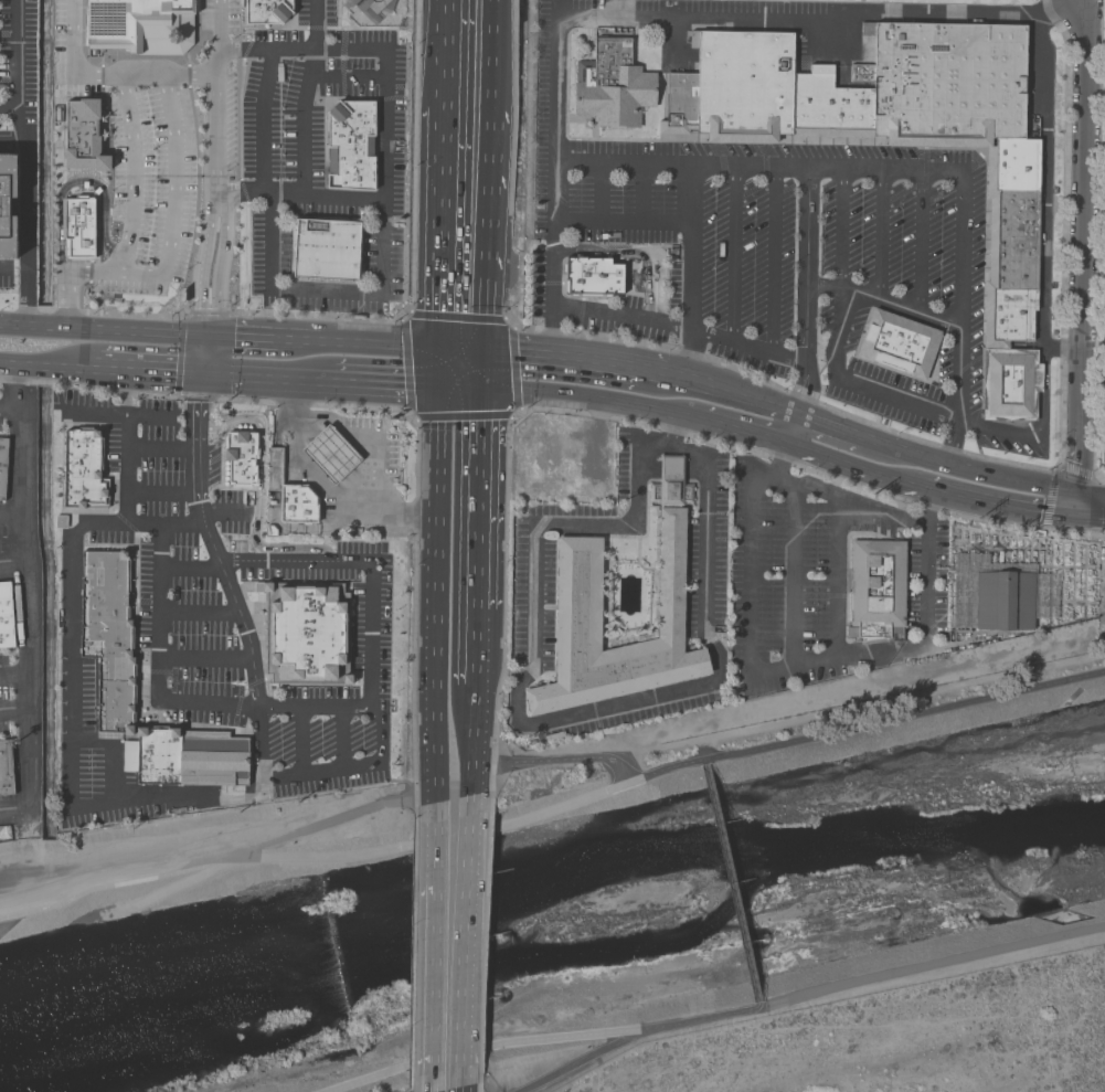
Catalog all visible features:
building: (364, 9)
building: (266, 13)
road: (744, 19)
building: (134, 25)
road: (71, 30)
road: (294, 52)
road: (445, 54)
road: (486, 55)
road: (141, 76)
building: (612, 85)
building: (743, 86)
building: (948, 86)
road: (385, 92)
road: (220, 96)
building: (832, 103)
building: (678, 106)
road: (8, 108)
road: (270, 123)
road: (312, 124)
road: (11, 144)
building: (348, 147)
road: (25, 161)
parking lot: (167, 161)
road: (132, 173)
road: (904, 173)
road: (1043, 179)
road: (75, 181)
road: (300, 194)
road: (602, 194)
road: (644, 195)
building: (8, 206)
road: (484, 214)
road: (171, 220)
road: (624, 223)
road: (442, 229)
road: (842, 231)
road: (881, 237)
road: (921, 245)
road: (1082, 248)
building: (325, 252)
road: (640, 253)
parking lot: (768, 254)
road: (734, 258)
road: (210, 264)
road: (776, 264)
road: (2, 267)
road: (692, 273)
building: (592, 276)
road: (648, 287)
road: (829, 288)
road: (323, 291)
road: (66, 298)
road: (552, 309)
road: (807, 309)
road: (905, 311)
road: (457, 317)
road: (369, 319)
road: (103, 329)
road: (535, 330)
road: (550, 331)
road: (481, 335)
traffic signals: (206, 338)
road: (241, 340)
road: (298, 343)
road: (381, 346)
building: (896, 346)
traffic signals: (440, 348)
road: (1063, 348)
road: (460, 349)
traffic signals: (481, 350)
road: (750, 350)
road: (550, 354)
road: (204, 356)
road: (439, 365)
road: (406, 367)
road: (641, 367)
road: (46, 368)
road: (480, 368)
road: (107, 369)
road: (513, 369)
road: (161, 371)
traffic signals: (203, 374)
road: (267, 377)
road: (688, 377)
road: (385, 381)
traffic signals: (439, 383)
road: (459, 384)
road: (857, 384)
traffic signals: (479, 385)
building: (1010, 385)
road: (59, 388)
road: (126, 392)
road: (589, 396)
road: (753, 396)
road: (198, 401)
road: (11, 412)
road: (115, 413)
road: (516, 413)
road: (412, 416)
road: (463, 416)
building: (1104, 421)
road: (1038, 428)
road: (742, 432)
road: (376, 443)
road: (160, 449)
building: (1104, 452)
building: (331, 454)
building: (241, 458)
road: (779, 463)
road: (935, 463)
building: (1, 465)
road: (854, 465)
road: (124, 469)
building: (275, 469)
building: (82, 470)
gas station: (337, 473)
road: (314, 478)
road: (257, 490)
road: (161, 491)
road: (477, 497)
traffic signals: (1081, 498)
road: (1093, 498)
road: (850, 502)
building: (297, 506)
road: (1000, 507)
road: (1080, 508)
road: (12, 516)
road: (223, 516)
traffic signals: (1080, 519)
road: (1092, 519)
road: (275, 562)
road: (13, 563)
road: (190, 568)
road: (794, 574)
road: (837, 579)
road: (28, 585)
building: (578, 587)
building: (875, 590)
road: (435, 593)
building: (1002, 598)
road: (198, 613)
building: (6, 615)
road: (240, 616)
building: (304, 633)
building: (108, 636)
road: (474, 654)
road: (205, 658)
road: (807, 661)
road: (14, 678)
road: (71, 685)
road: (857, 708)
road: (15, 709)
road: (269, 709)
road: (902, 715)
road: (532, 723)
road: (383, 729)
road: (342, 739)
road: (302, 741)
road: (471, 749)
road: (113, 751)
building: (158, 754)
building: (129, 756)
building: (212, 759)
road: (589, 759)
building: (7, 768)
road: (320, 771)
road: (14, 808)
road: (433, 845)
road: (323, 859)
road: (729, 882)
river: (552, 916)
road: (465, 945)
road: (929, 965)
road: (431, 989)
road: (624, 1031)
road: (578, 1062)
road: (364, 1080)
road: (460, 1091)

